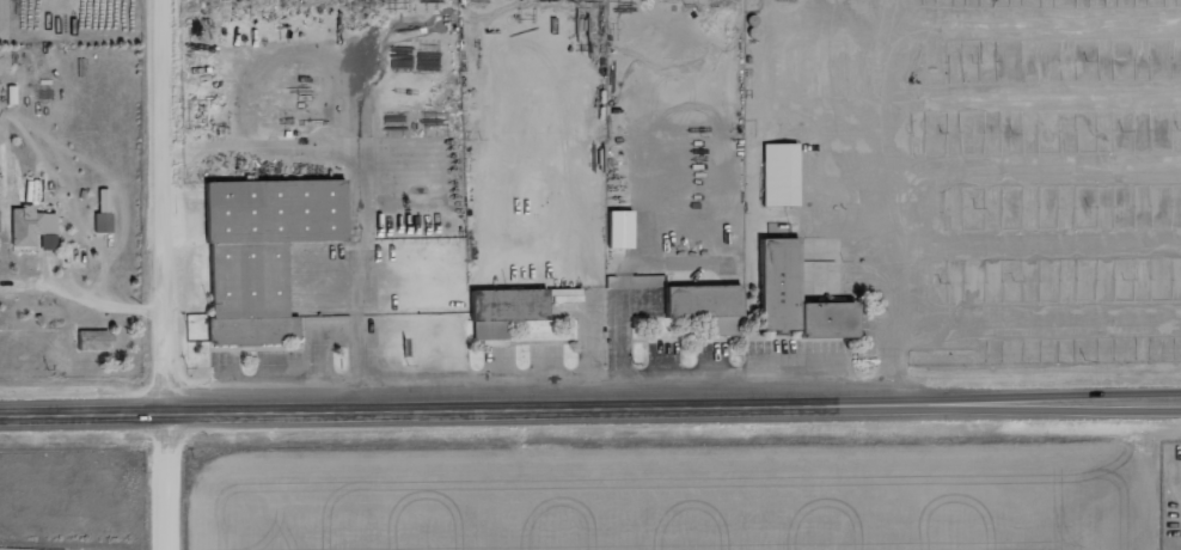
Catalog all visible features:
building: (782, 173)
road: (171, 207)
building: (104, 222)
building: (35, 227)
building: (622, 228)
building: (265, 252)
building: (798, 295)
building: (704, 300)
building: (514, 308)
building: (721, 326)
building: (98, 340)
road: (590, 409)
road: (175, 482)

